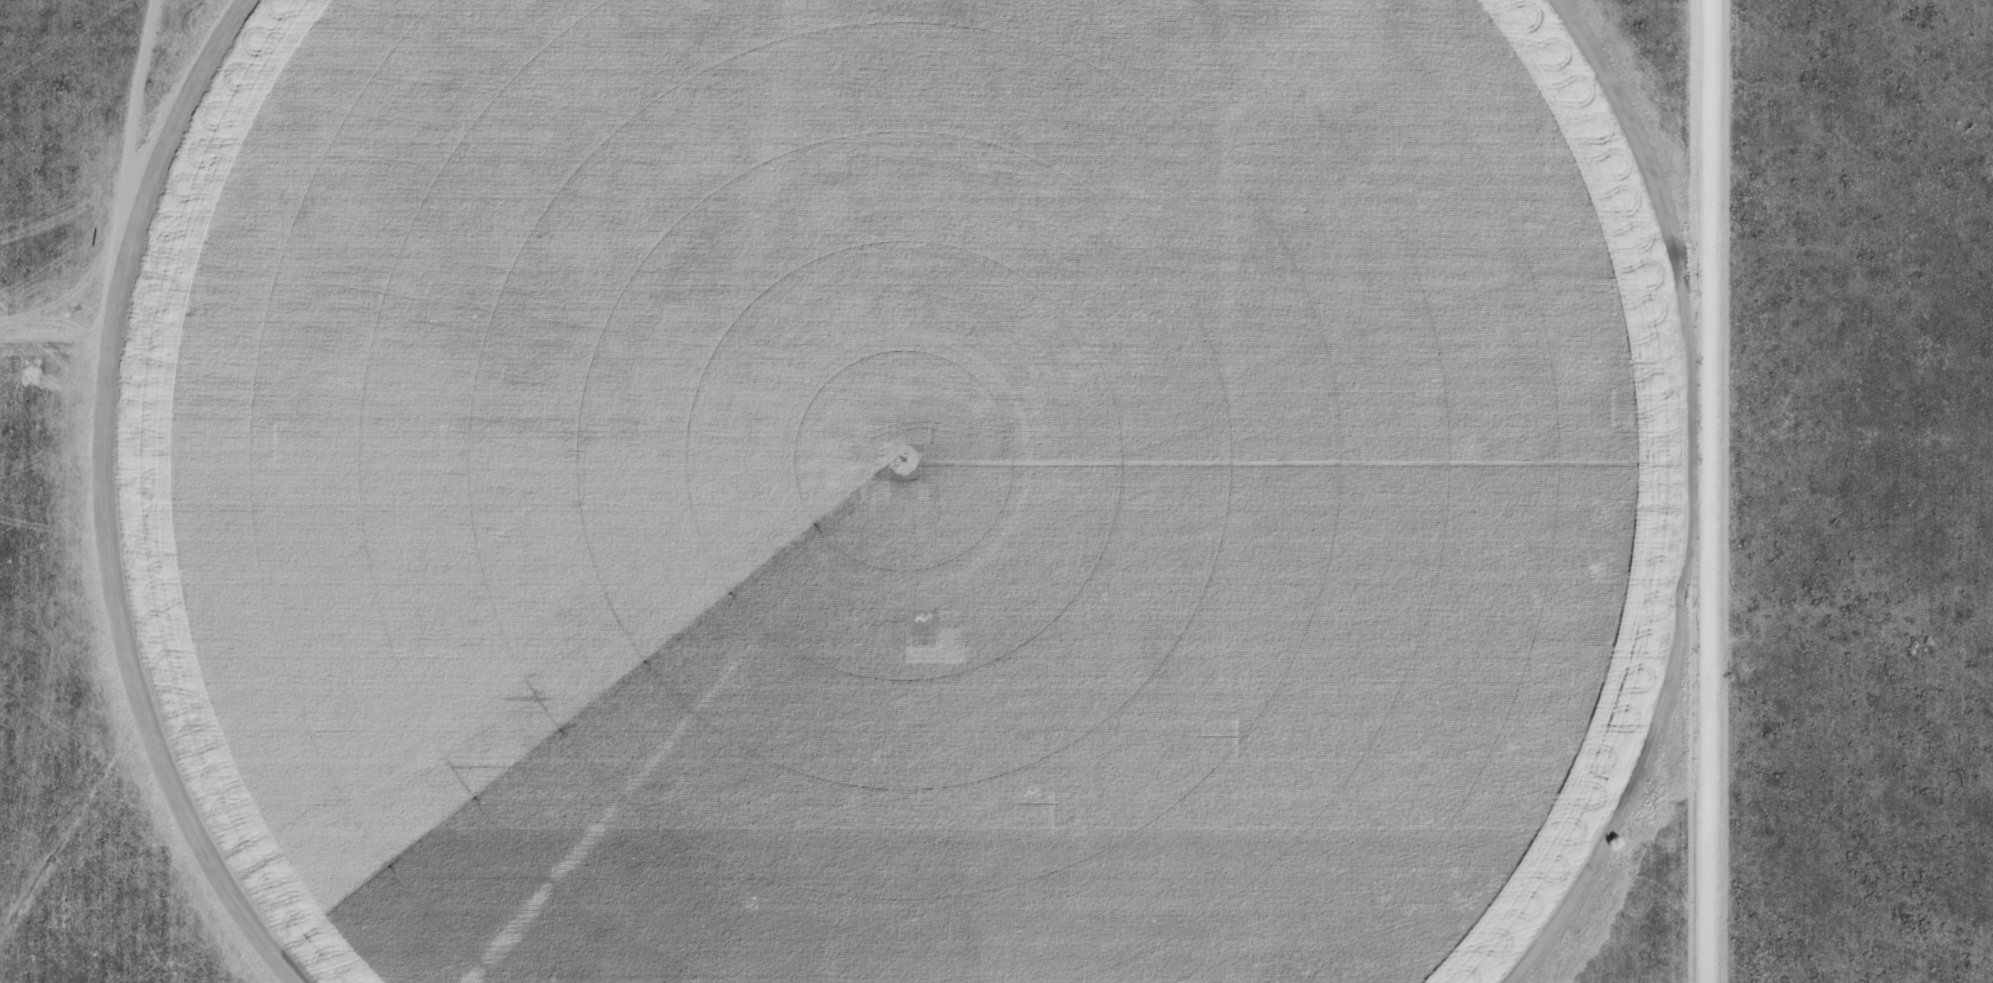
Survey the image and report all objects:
road: (1726, 491)

